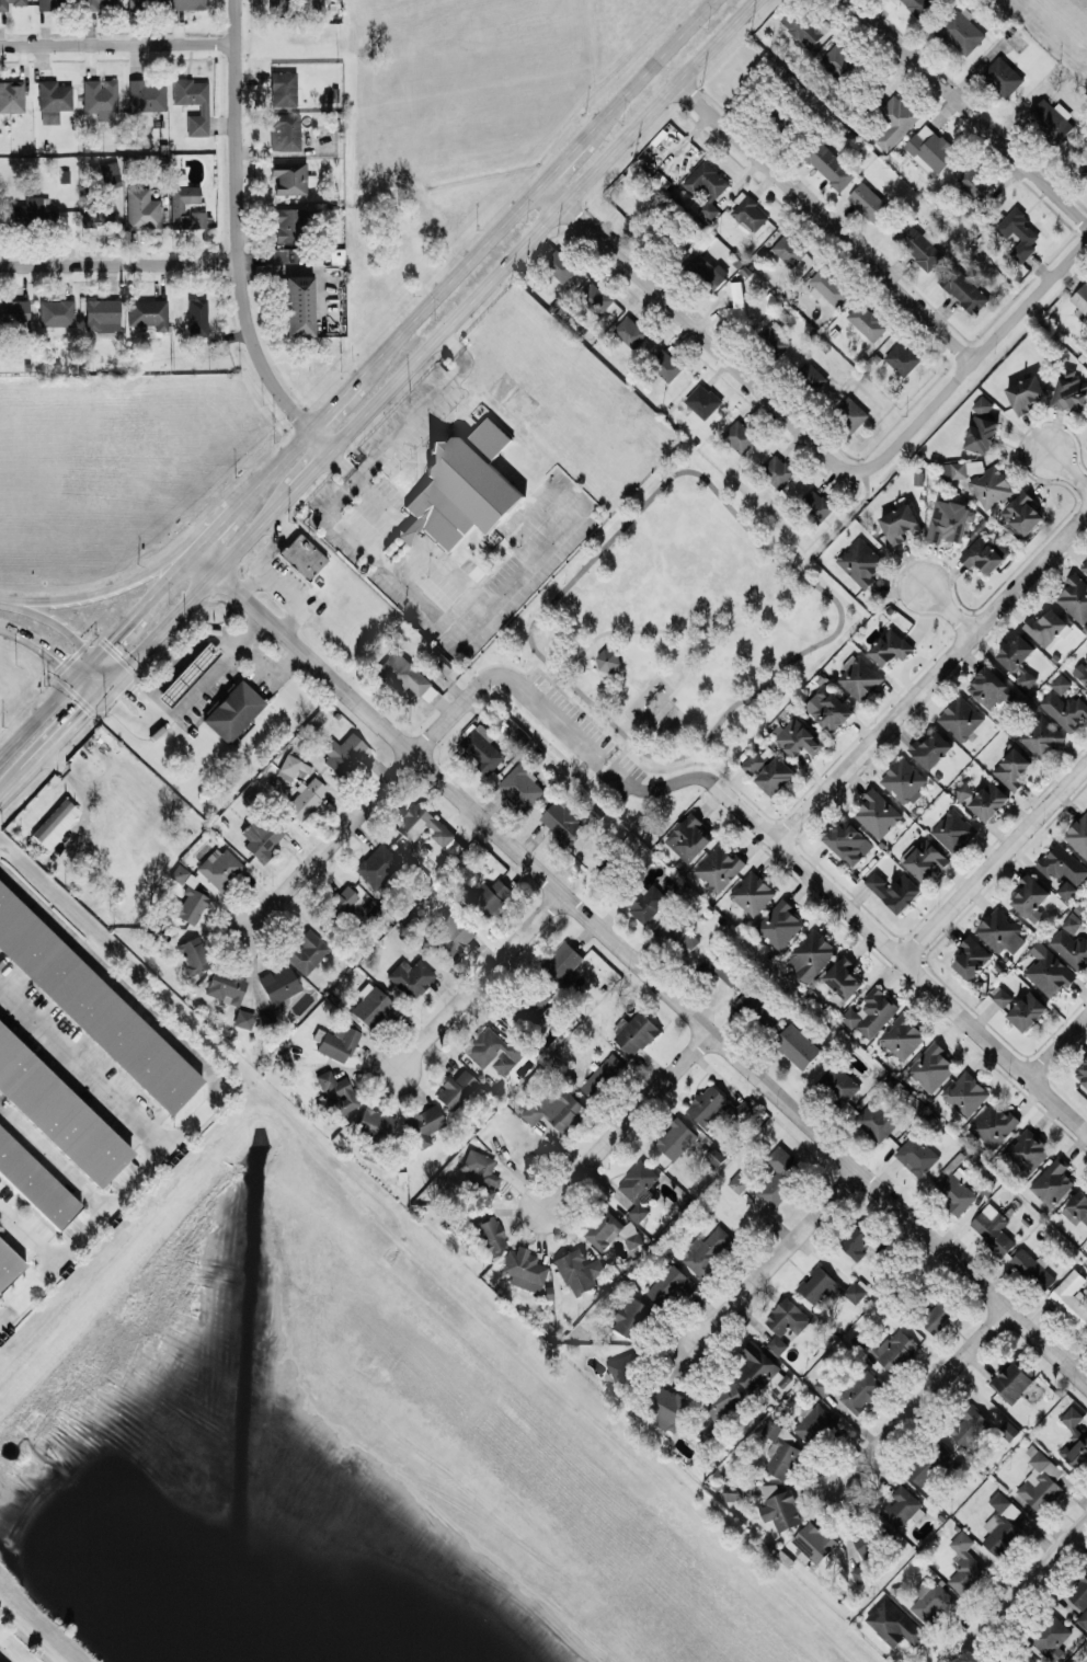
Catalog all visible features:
building: (10, 2)
building: (92, 2)
building: (144, 2)
building: (47, 3)
building: (186, 3)
building: (917, 5)
building: (804, 26)
building: (960, 31)
road: (117, 43)
building: (837, 62)
building: (1002, 76)
building: (283, 88)
building: (147, 93)
building: (11, 94)
building: (100, 96)
building: (53, 99)
building: (203, 107)
road: (969, 112)
building: (1051, 118)
building: (894, 119)
building: (284, 129)
building: (929, 149)
building: (829, 164)
building: (1083, 167)
building: (108, 170)
building: (290, 175)
road: (540, 181)
building: (975, 183)
building: (701, 191)
building: (868, 202)
building: (96, 205)
building: (176, 206)
building: (141, 207)
building: (31, 208)
building: (750, 213)
building: (289, 223)
road: (827, 223)
road: (540, 225)
building: (1018, 232)
road: (236, 237)
building: (703, 240)
building: (918, 244)
building: (789, 249)
road: (118, 263)
building: (560, 264)
building: (705, 271)
building: (827, 286)
building: (962, 287)
building: (595, 297)
building: (1080, 298)
building: (298, 303)
building: (735, 305)
building: (14, 310)
building: (56, 311)
building: (147, 311)
building: (192, 312)
building: (102, 314)
building: (866, 321)
building: (632, 332)
road: (694, 332)
building: (776, 333)
building: (902, 357)
building: (666, 364)
road: (980, 364)
building: (816, 378)
building: (1069, 390)
building: (1025, 393)
road: (340, 396)
building: (702, 400)
building: (849, 413)
building: (981, 426)
building: (739, 436)
road: (283, 457)
road: (341, 463)
road: (1068, 468)
road: (308, 469)
building: (954, 469)
building: (777, 470)
building: (464, 484)
building: (985, 484)
road: (379, 501)
building: (819, 508)
building: (1022, 512)
road: (224, 517)
building: (947, 520)
building: (900, 524)
road: (410, 529)
building: (410, 530)
road: (278, 538)
road: (367, 547)
road: (182, 552)
building: (983, 553)
building: (301, 554)
building: (860, 561)
building: (1084, 565)
road: (454, 570)
road: (797, 571)
road: (165, 578)
road: (203, 583)
road: (284, 584)
road: (96, 589)
building: (1075, 596)
road: (8, 599)
road: (948, 611)
building: (1045, 626)
road: (746, 627)
road: (70, 631)
traffic signals: (108, 638)
road: (106, 639)
building: (890, 646)
building: (1015, 651)
road: (54, 652)
traffic signals: (60, 657)
road: (183, 658)
building: (607, 658)
road: (268, 662)
road: (609, 664)
building: (1082, 670)
building: (185, 672)
gas station: (185, 672)
building: (405, 675)
building: (859, 676)
building: (1023, 676)
road: (203, 678)
road: (930, 681)
building: (1060, 683)
road: (126, 685)
building: (989, 687)
traffic signals: (131, 690)
road: (638, 690)
road: (673, 690)
road: (137, 703)
road: (116, 708)
building: (231, 708)
building: (828, 708)
traffic signals: (84, 709)
building: (1064, 709)
road: (39, 713)
road: (558, 717)
building: (960, 718)
road: (69, 723)
parking lot: (577, 733)
building: (796, 736)
building: (1041, 736)
building: (482, 747)
building: (930, 748)
building: (343, 752)
building: (754, 761)
building: (290, 763)
building: (1011, 768)
building: (775, 775)
building: (903, 780)
road: (11, 783)
building: (520, 787)
building: (962, 790)
building: (305, 796)
building: (988, 800)
building: (877, 813)
building: (562, 818)
building: (55, 822)
building: (423, 824)
building: (953, 829)
road: (337, 834)
building: (262, 835)
building: (1078, 835)
building: (687, 837)
building: (848, 840)
building: (453, 847)
building: (925, 858)
road: (994, 862)
building: (376, 863)
building: (1062, 863)
building: (219, 866)
building: (719, 867)
building: (609, 870)
building: (1066, 889)
building: (894, 890)
building: (752, 892)
building: (488, 896)
building: (1030, 896)
building: (190, 901)
building: (647, 902)
building: (337, 903)
building: (1086, 914)
building: (1071, 921)
building: (779, 924)
building: (676, 929)
building: (999, 930)
building: (448, 932)
building: (1071, 948)
building: (306, 950)
building: (192, 953)
building: (810, 954)
building: (971, 956)
road: (902, 960)
building: (1048, 970)
road: (636, 973)
building: (411, 975)
building: (844, 977)
road: (479, 983)
building: (278, 984)
building: (226, 985)
building: (1000, 995)
building: (533, 1002)
building: (369, 1004)
building: (748, 1004)
building: (93, 1005)
building: (1027, 1010)
building: (870, 1012)
building: (243, 1017)
building: (266, 1019)
building: (636, 1033)
building: (902, 1035)
building: (336, 1041)
building: (797, 1045)
building: (494, 1048)
road: (1056, 1048)
road: (83, 1065)
building: (930, 1066)
building: (1082, 1073)
building: (603, 1075)
building: (837, 1082)
building: (455, 1088)
road: (217, 1089)
building: (336, 1089)
building: (964, 1092)
building: (709, 1105)
building: (556, 1108)
building: (58, 1111)
building: (879, 1116)
building: (423, 1123)
road: (623, 1124)
building: (992, 1124)
building: (676, 1138)
building: (1027, 1150)
building: (916, 1155)
road: (53, 1156)
building: (480, 1168)
building: (780, 1173)
building: (35, 1181)
building: (737, 1182)
building: (1051, 1182)
building: (954, 1190)
building: (1076, 1207)
building: (992, 1228)
building: (610, 1230)
road: (27, 1233)
building: (490, 1233)
building: (856, 1239)
building: (707, 1249)
road: (771, 1261)
building: (8, 1262)
building: (523, 1268)
building: (1031, 1268)
building: (579, 1270)
building: (670, 1284)
building: (828, 1286)
building: (1071, 1297)
building: (937, 1313)
building: (629, 1315)
building: (783, 1322)
building: (895, 1350)
building: (755, 1365)
building: (626, 1372)
building: (1012, 1380)
building: (823, 1385)
building: (860, 1390)
road: (925, 1395)
building: (724, 1400)
building: (670, 1408)
building: (812, 1422)
building: (969, 1426)
building: (1007, 1429)
building: (1074, 1439)
building: (781, 1448)
building: (929, 1463)
building: (1040, 1481)
building: (769, 1488)
building: (734, 1491)
building: (902, 1508)
building: (780, 1510)
building: (1002, 1524)
building: (813, 1543)
building: (866, 1544)
building: (964, 1563)
building: (860, 1573)
road: (1021, 1591)
building: (1077, 1593)
building: (931, 1602)
building: (1083, 1618)
building: (893, 1623)
building: (1051, 1637)
building: (1019, 1655)

